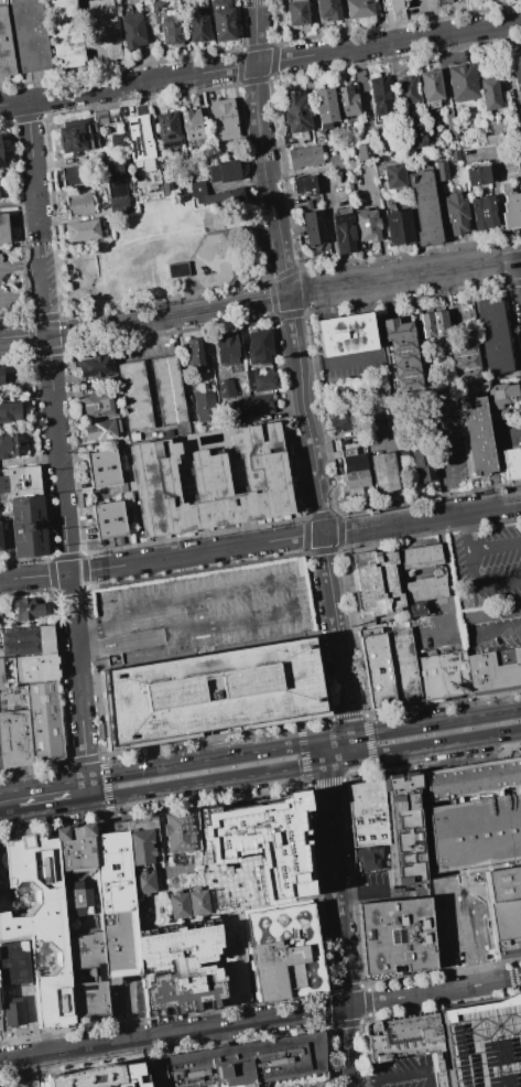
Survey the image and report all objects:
building: (435, 0)
building: (444, 1)
building: (156, 4)
building: (390, 4)
building: (358, 9)
building: (327, 10)
building: (296, 13)
building: (222, 21)
building: (198, 29)
building: (102, 30)
building: (132, 31)
building: (171, 31)
building: (64, 32)
building: (29, 35)
building: (4, 47)
road: (260, 63)
building: (515, 72)
building: (462, 83)
building: (431, 86)
building: (408, 93)
building: (489, 94)
building: (380, 96)
building: (347, 101)
building: (323, 108)
building: (294, 112)
building: (107, 117)
building: (224, 119)
building: (191, 126)
building: (451, 126)
building: (166, 130)
building: (414, 133)
rooftop solar panel: (166, 137)
building: (138, 138)
building: (77, 139)
building: (491, 139)
building: (115, 141)
rooftop solar panel: (167, 142)
rooftop solar panel: (135, 144)
building: (381, 146)
road: (261, 148)
building: (362, 151)
building: (454, 155)
building: (304, 157)
building: (0, 161)
building: (337, 162)
road: (32, 165)
building: (224, 171)
building: (441, 171)
building: (73, 174)
building: (393, 176)
building: (476, 176)
building: (113, 181)
building: (520, 181)
building: (306, 185)
building: (197, 187)
building: (167, 189)
building: (226, 197)
building: (78, 205)
building: (425, 208)
building: (511, 212)
building: (456, 214)
building: (482, 214)
building: (367, 226)
building: (399, 227)
building: (3, 228)
building: (314, 228)
building: (82, 230)
building: (344, 233)
road: (204, 236)
road: (40, 246)
park: (163, 255)
road: (20, 265)
road: (236, 265)
road: (520, 267)
building: (177, 270)
road: (404, 276)
parking lot: (8, 283)
traffic signals: (289, 294)
road: (21, 295)
road: (93, 305)
road: (144, 319)
building: (437, 324)
building: (348, 334)
building: (497, 336)
building: (235, 347)
building: (261, 347)
building: (406, 353)
building: (198, 354)
building: (469, 359)
building: (93, 366)
road: (338, 366)
building: (0, 377)
building: (264, 380)
building: (379, 386)
building: (228, 388)
building: (171, 390)
building: (351, 391)
building: (138, 396)
building: (503, 396)
building: (443, 401)
building: (207, 405)
building: (100, 406)
building: (256, 407)
building: (9, 411)
building: (383, 415)
building: (502, 415)
road: (54, 417)
building: (345, 421)
building: (106, 431)
building: (480, 435)
building: (132, 437)
building: (10, 445)
parking lot: (449, 450)
building: (406, 458)
building: (355, 461)
road: (449, 462)
building: (513, 463)
building: (425, 465)
building: (106, 469)
building: (384, 473)
building: (214, 480)
building: (359, 480)
building: (4, 485)
building: (29, 512)
road: (323, 516)
building: (111, 519)
building: (2, 537)
road: (260, 541)
building: (485, 553)
road: (446, 571)
building: (422, 575)
building: (376, 583)
road: (70, 595)
parking lot: (202, 609)
building: (30, 610)
road: (282, 614)
building: (31, 641)
building: (401, 665)
building: (375, 668)
building: (37, 669)
building: (491, 669)
building: (441, 674)
building: (3, 675)
building: (213, 695)
rooftop solar panel: (44, 698)
rooftop solar panel: (40, 699)
road: (79, 706)
building: (44, 722)
road: (430, 723)
building: (14, 739)
traffic signals: (339, 739)
road: (424, 747)
road: (333, 751)
building: (512, 753)
road: (211, 758)
traffic signals: (327, 763)
road: (208, 783)
road: (326, 794)
road: (55, 797)
road: (10, 804)
building: (474, 814)
road: (21, 819)
rooftop solar panel: (363, 822)
rooftop solar panel: (355, 825)
building: (402, 829)
building: (181, 833)
rooftop solar panel: (368, 837)
rooftop solar panel: (379, 837)
rooftop solar panel: (354, 838)
building: (145, 842)
building: (1, 848)
road: (332, 850)
building: (256, 855)
building: (2, 873)
building: (146, 883)
parking lot: (371, 884)
road: (359, 891)
building: (189, 905)
building: (504, 908)
building: (101, 915)
building: (143, 915)
building: (41, 922)
road: (53, 928)
rooftop solar panel: (399, 934)
rooftop solar panel: (390, 935)
building: (397, 935)
building: (286, 953)
building: (234, 956)
building: (15, 964)
building: (181, 967)
road: (344, 980)
road: (510, 980)
road: (468, 987)
parking lot: (124, 995)
road: (392, 999)
rooftop solar panel: (59, 1002)
road: (31, 1012)
road: (130, 1012)
building: (13, 1013)
road: (172, 1033)
road: (56, 1041)
building: (405, 1041)
building: (481, 1045)
parking garage: (481, 1045)
building: (241, 1063)
road: (52, 1065)
parking lot: (402, 1073)
building: (99, 1077)
road: (393, 1077)
parking lot: (54, 1080)
road: (54, 1081)
building: (25, 1083)
parking lot: (313, 1086)
building: (372, 1086)

